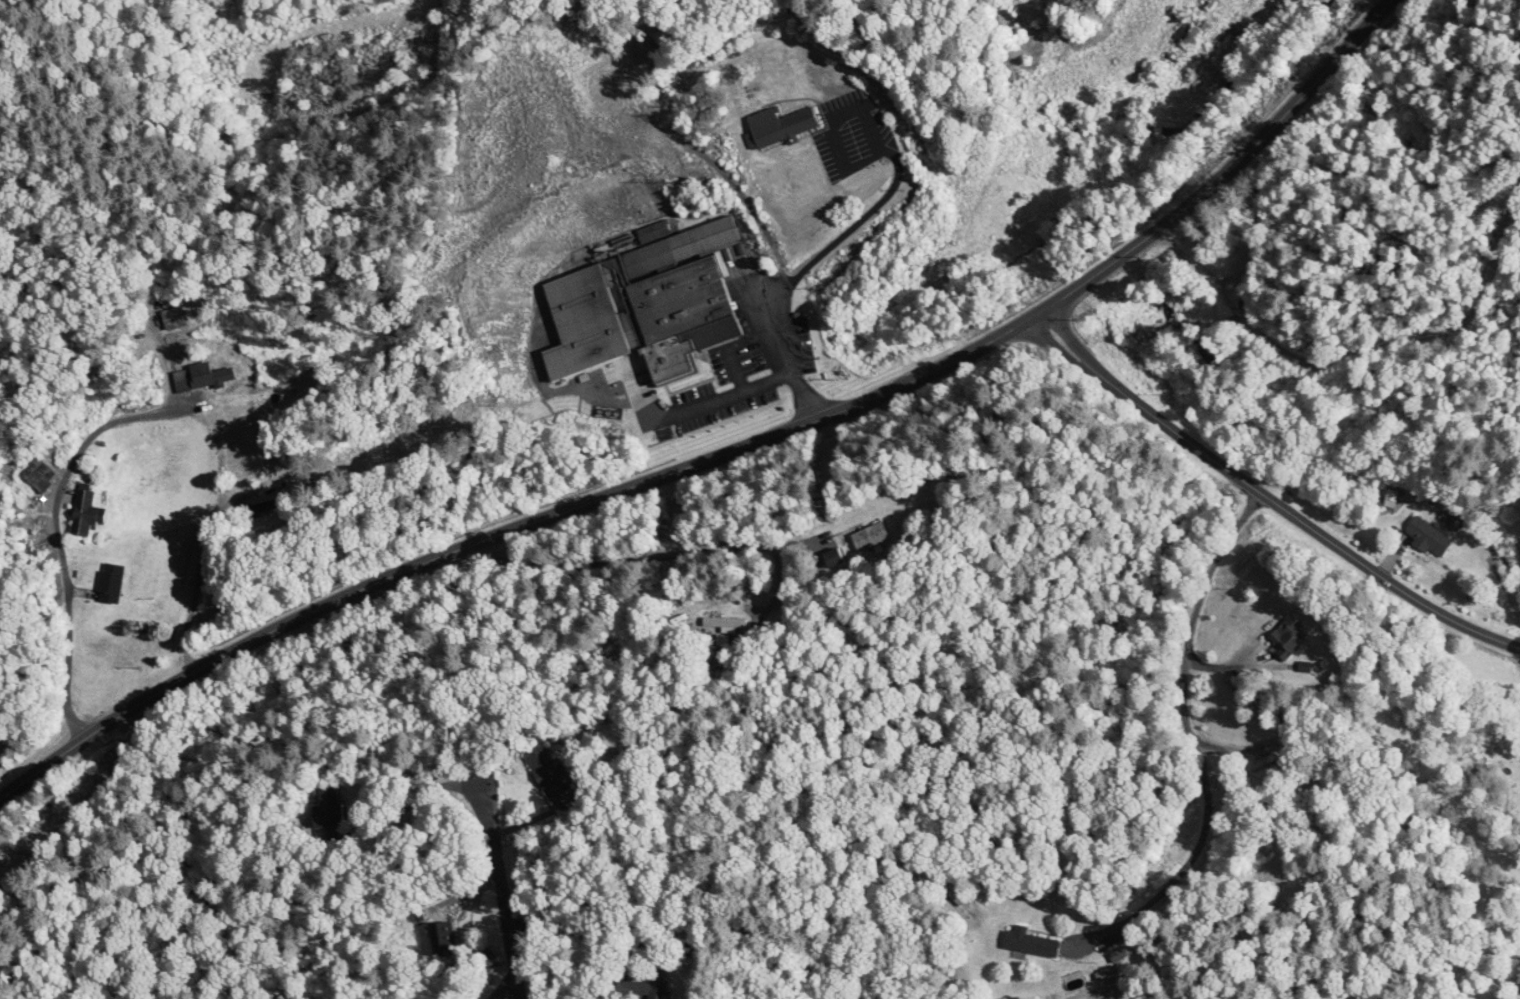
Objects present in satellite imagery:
building: (1191, 37)
building: (779, 125)
road: (873, 131)
building: (647, 162)
road: (867, 212)
building: (678, 299)
building: (209, 375)
road: (738, 389)
road: (1355, 395)
road: (726, 445)
building: (1393, 494)
road: (56, 496)
road: (1265, 498)
building: (86, 511)
building: (866, 535)
building: (1430, 538)
building: (830, 556)
road: (622, 559)
road: (198, 570)
building: (111, 583)
building: (724, 622)
building: (1284, 635)
road: (1191, 730)
building: (1264, 761)
building: (546, 772)
building: (329, 805)
road: (500, 888)
building: (445, 936)
building: (1029, 942)
building: (1114, 952)
road: (487, 972)
building: (643, 985)

